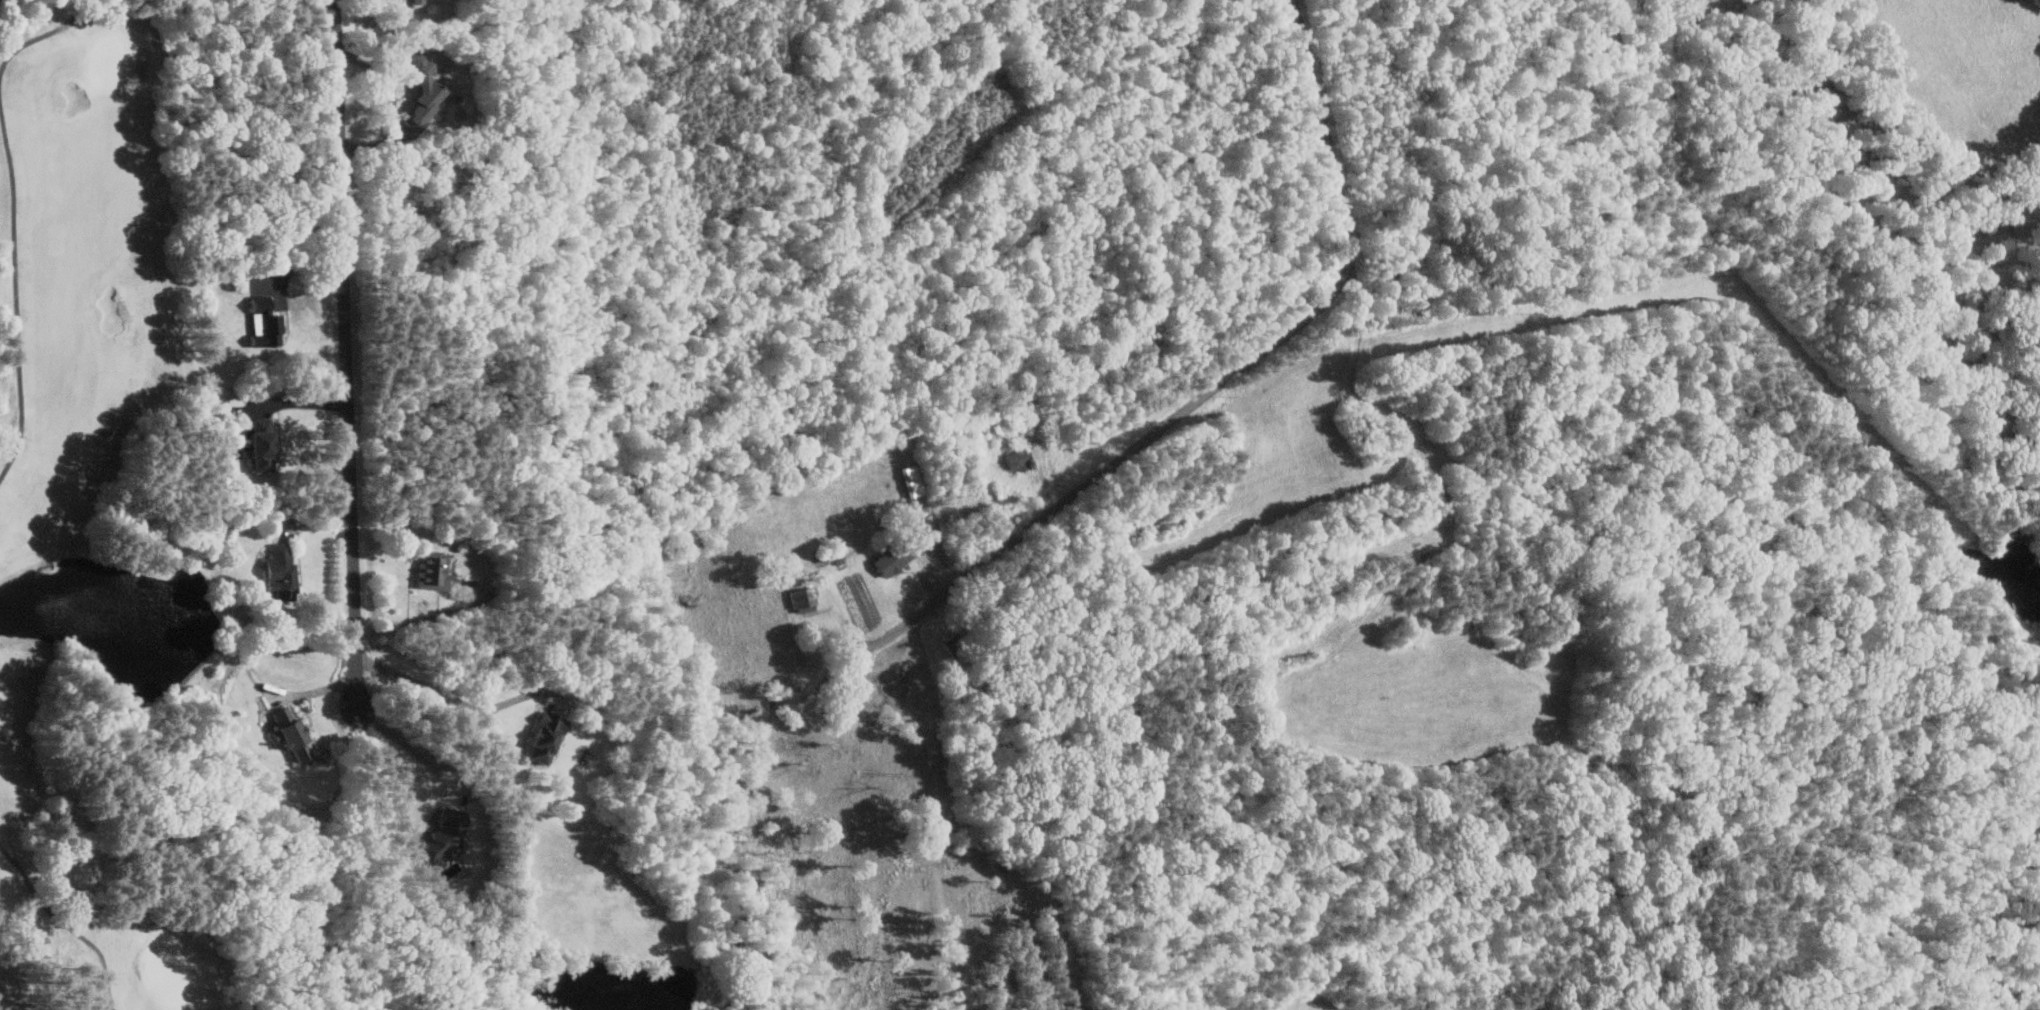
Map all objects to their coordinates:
building: (420, 88)
road: (27, 244)
building: (265, 326)
road: (348, 352)
road: (1220, 383)
road: (274, 400)
building: (259, 443)
building: (1017, 459)
park: (320, 511)
building: (892, 558)
building: (279, 570)
building: (430, 570)
building: (801, 597)
road: (423, 619)
road: (455, 700)
building: (288, 732)
building: (544, 737)
road: (413, 747)
building: (441, 833)
road: (47, 914)

